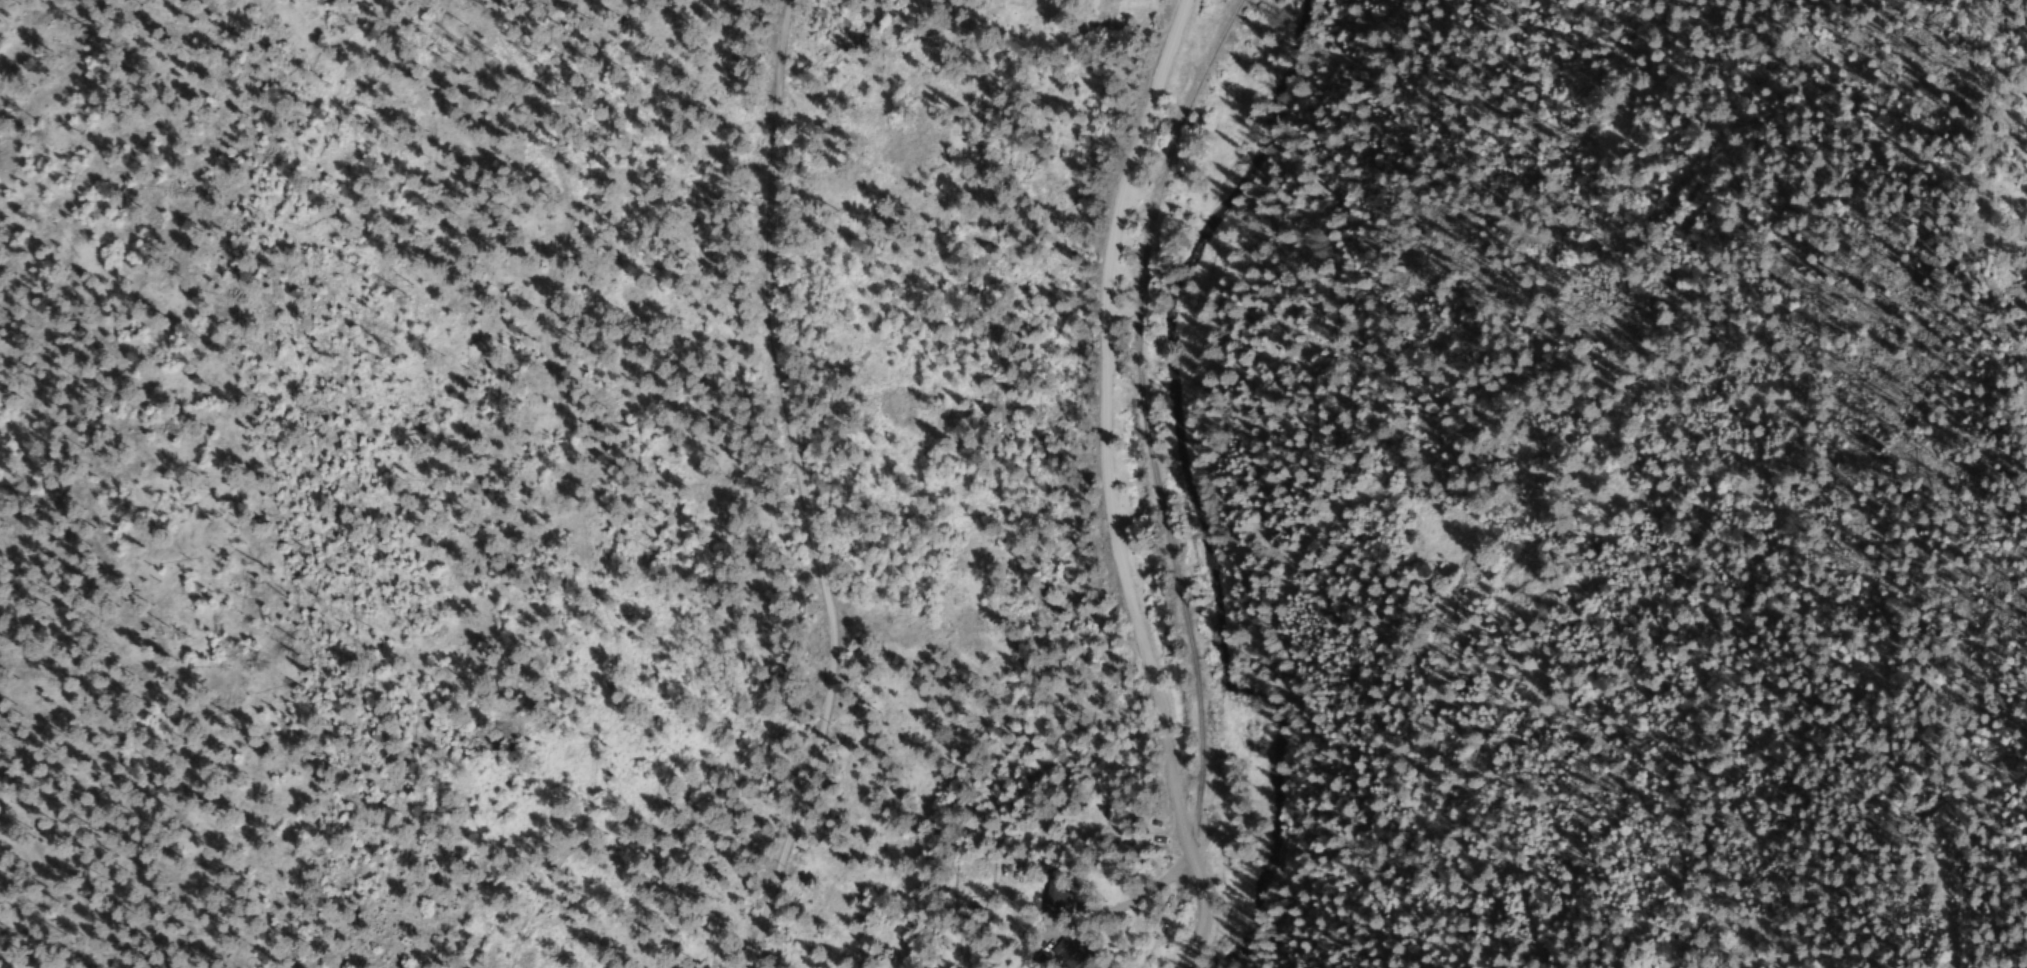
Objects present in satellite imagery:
road: (1106, 484)
road: (801, 490)
building: (1049, 892)
building: (1069, 953)

